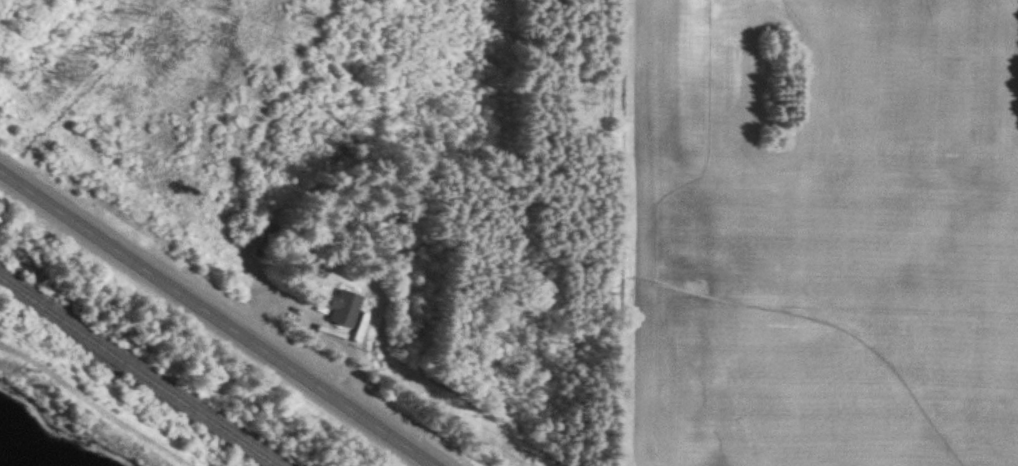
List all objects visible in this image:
building: (348, 307)
road: (215, 318)
railway: (138, 371)

